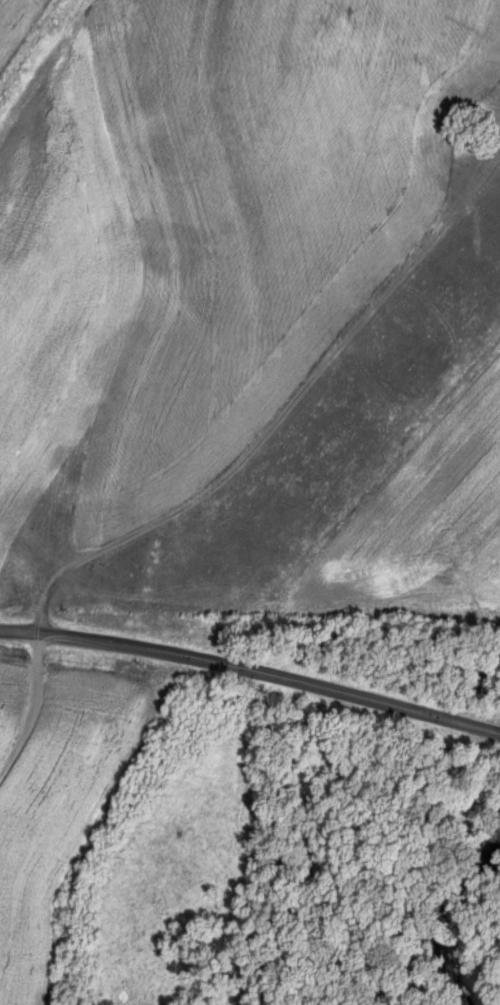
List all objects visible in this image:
road: (252, 670)

